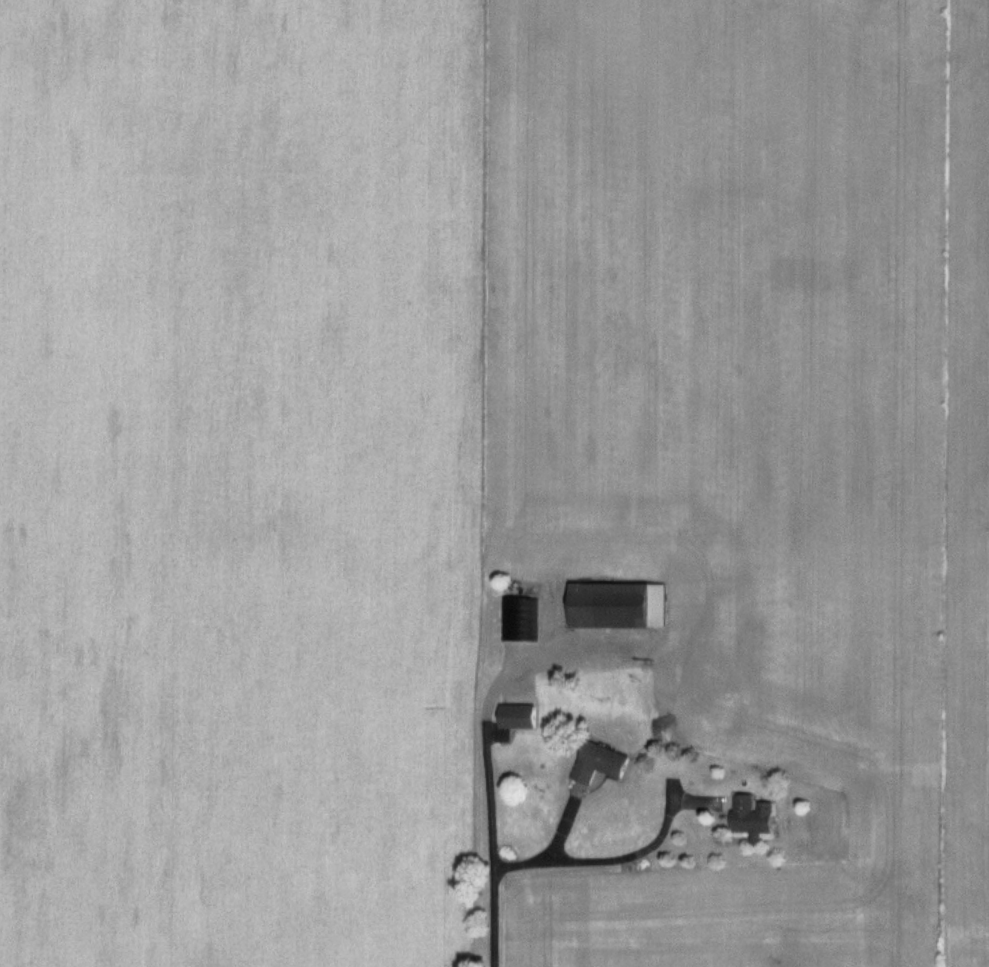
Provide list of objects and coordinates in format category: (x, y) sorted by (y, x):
building: (618, 603)
building: (519, 618)
building: (517, 715)
building: (600, 761)
building: (751, 816)
road: (483, 847)
road: (583, 860)

